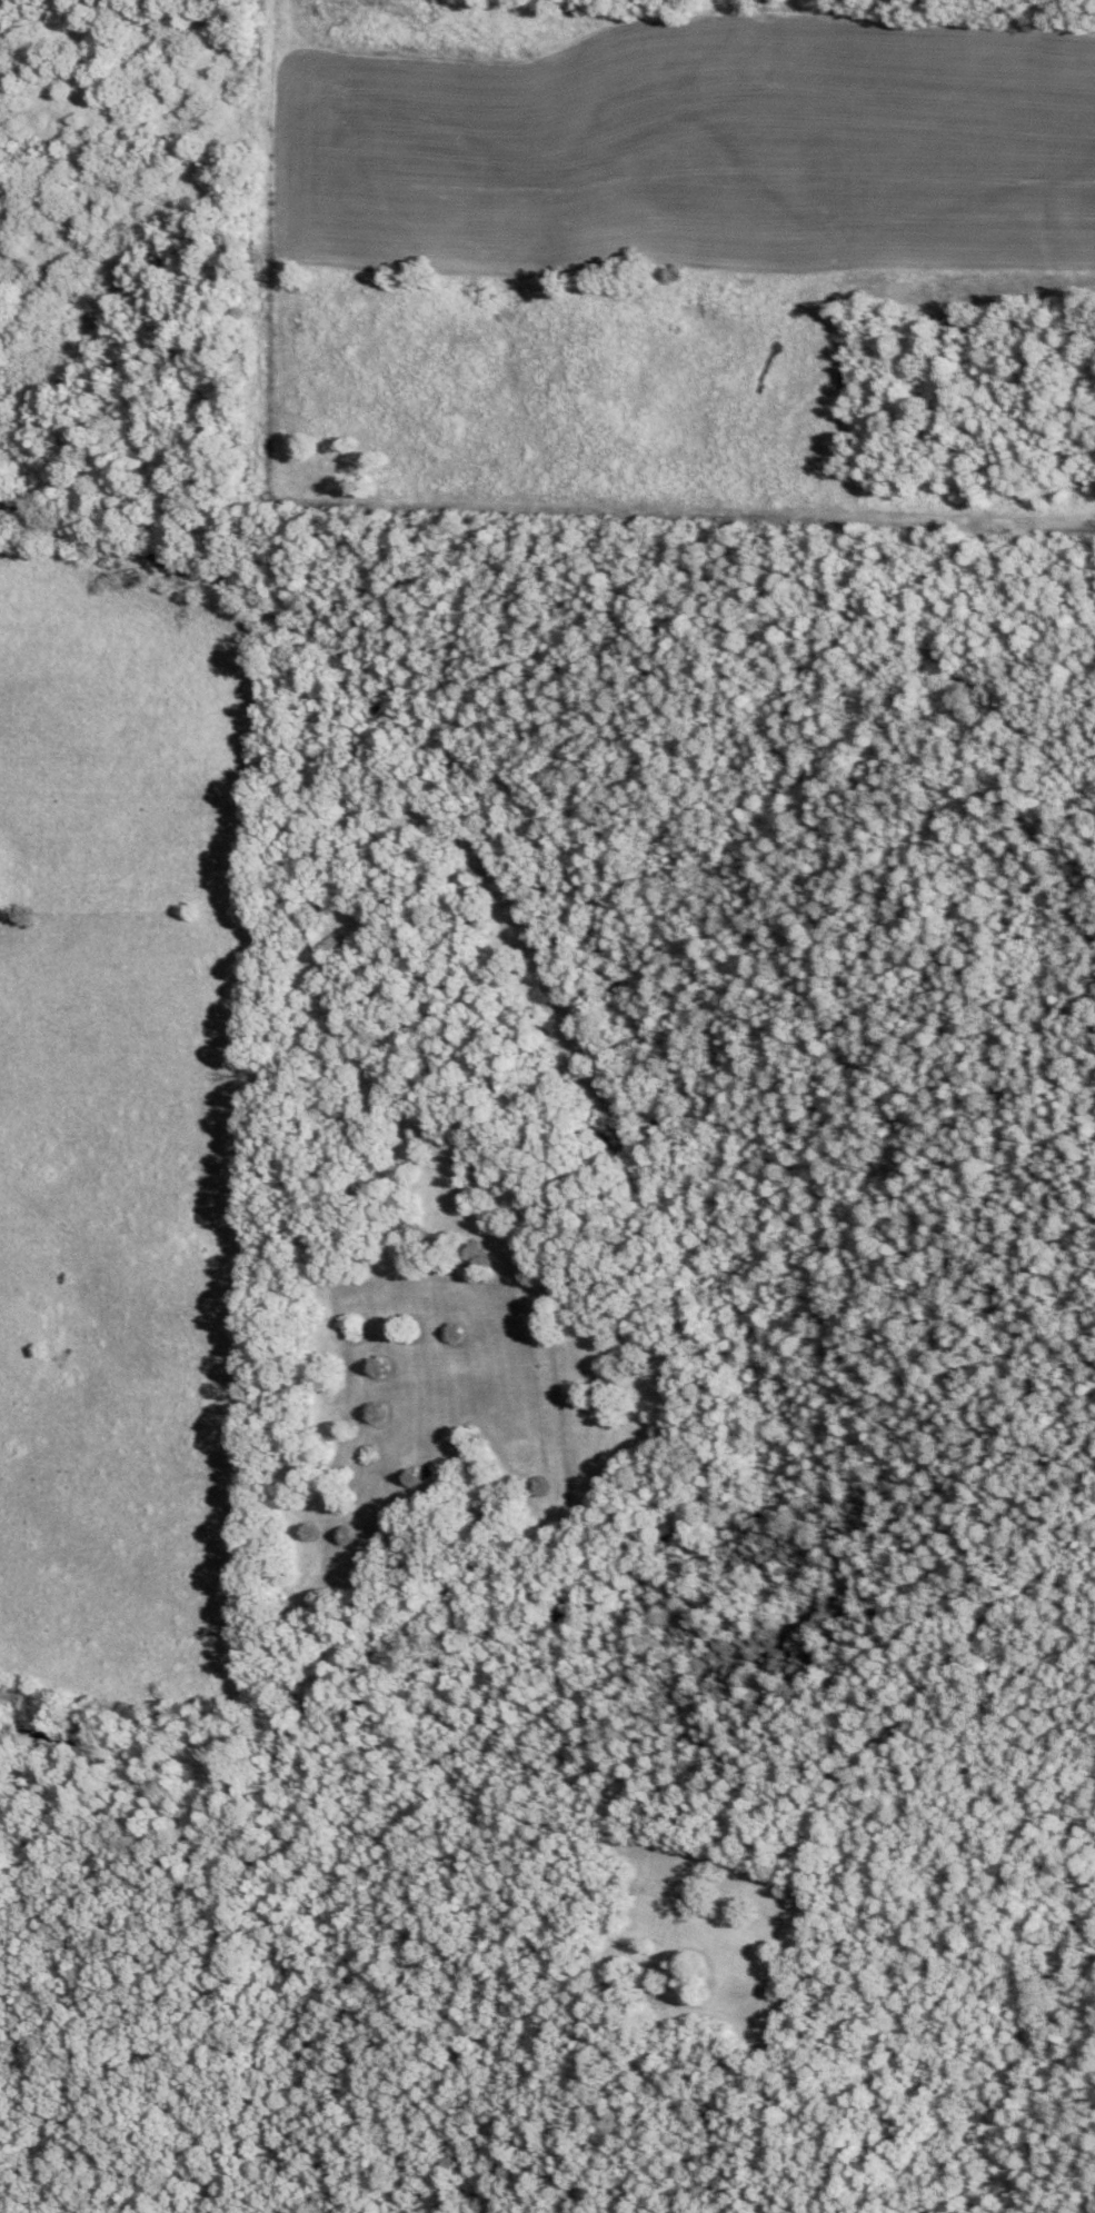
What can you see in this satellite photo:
park: (169, 1953)

